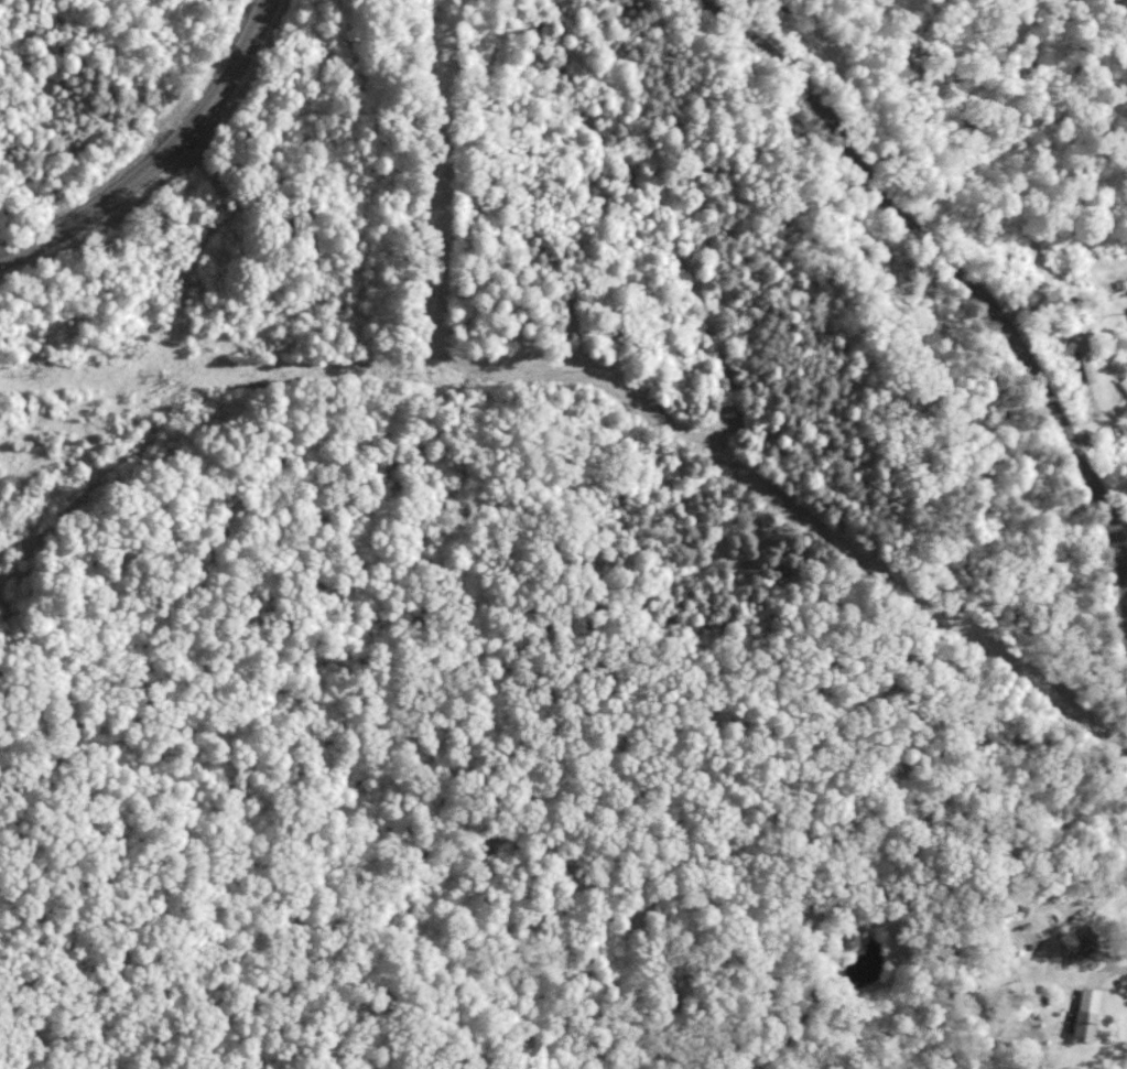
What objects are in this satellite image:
road: (155, 154)
road: (966, 283)
building: (1076, 944)
building: (1087, 1014)

